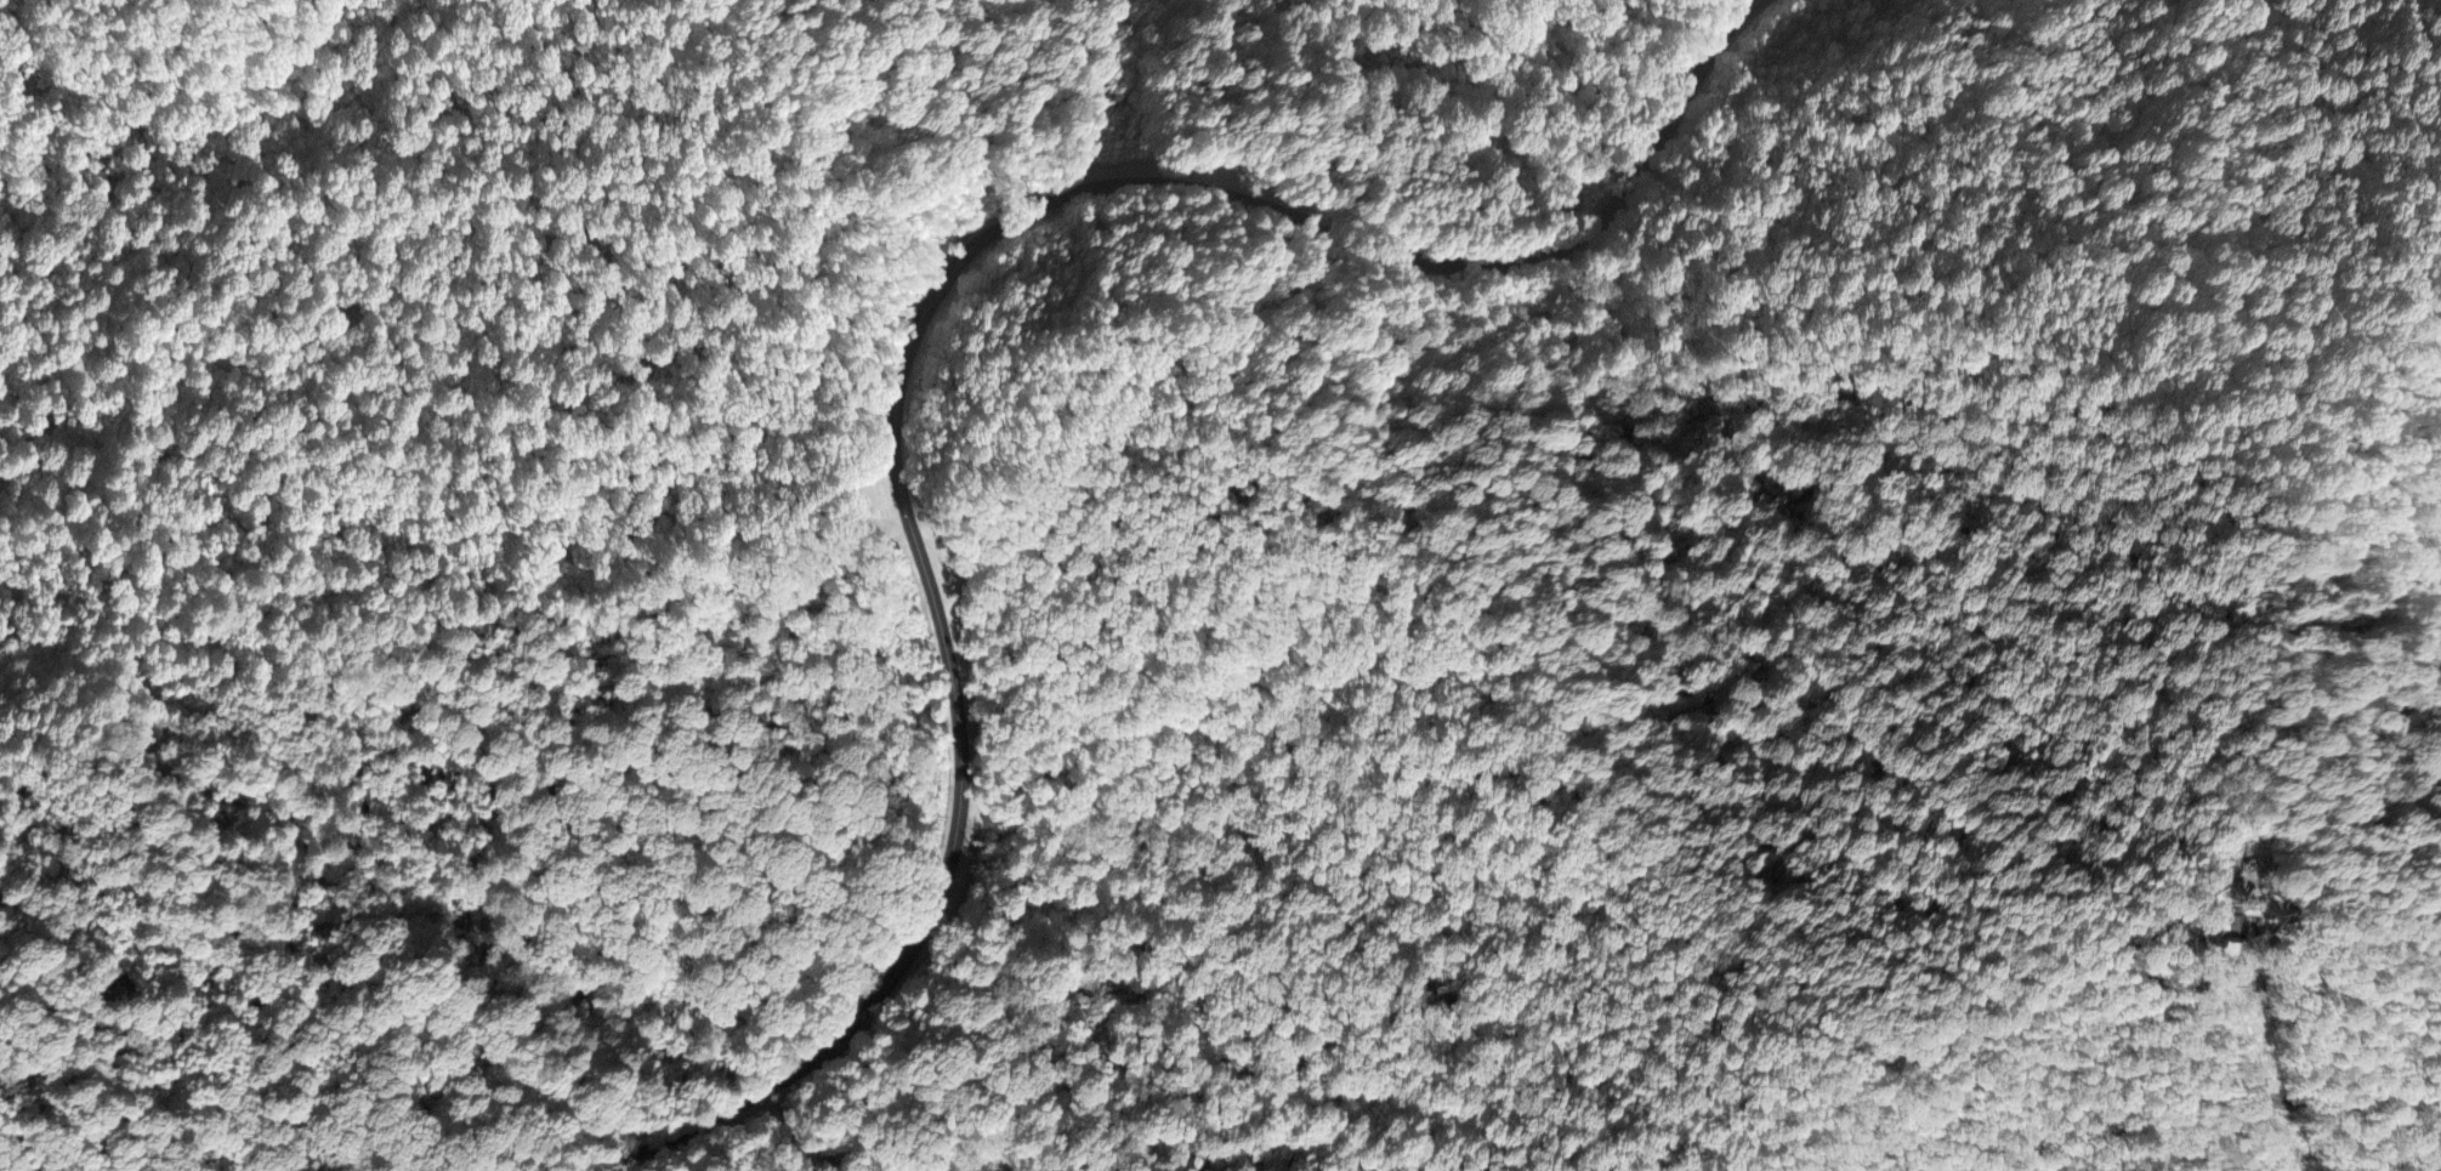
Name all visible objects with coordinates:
road: (923, 328)
road: (2136, 1118)

